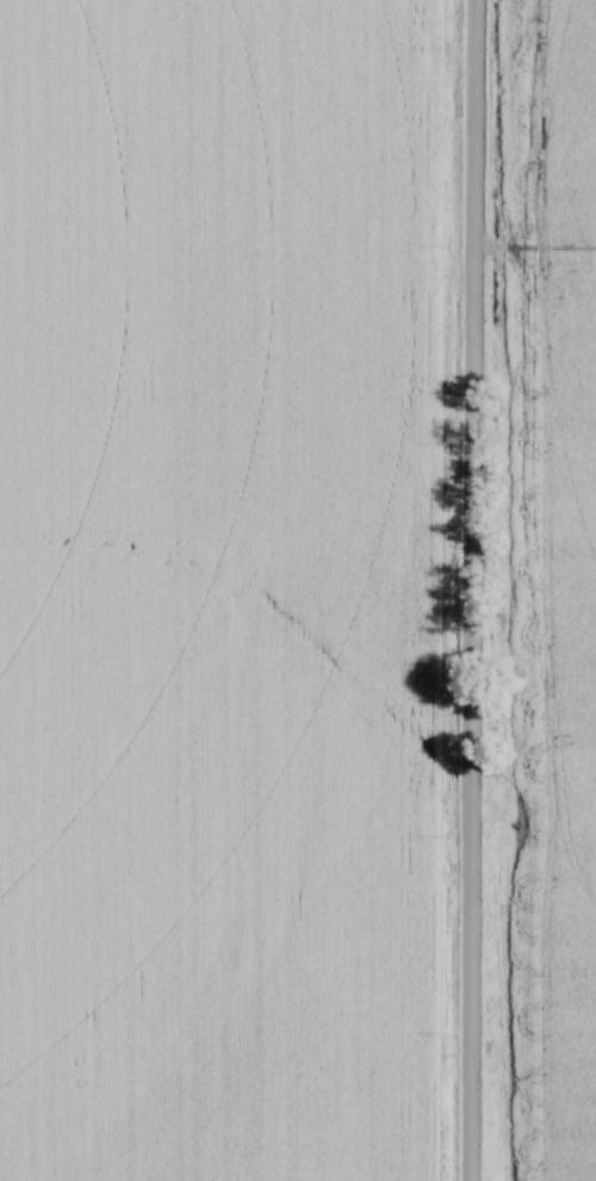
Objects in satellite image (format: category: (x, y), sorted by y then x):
road: (472, 589)

